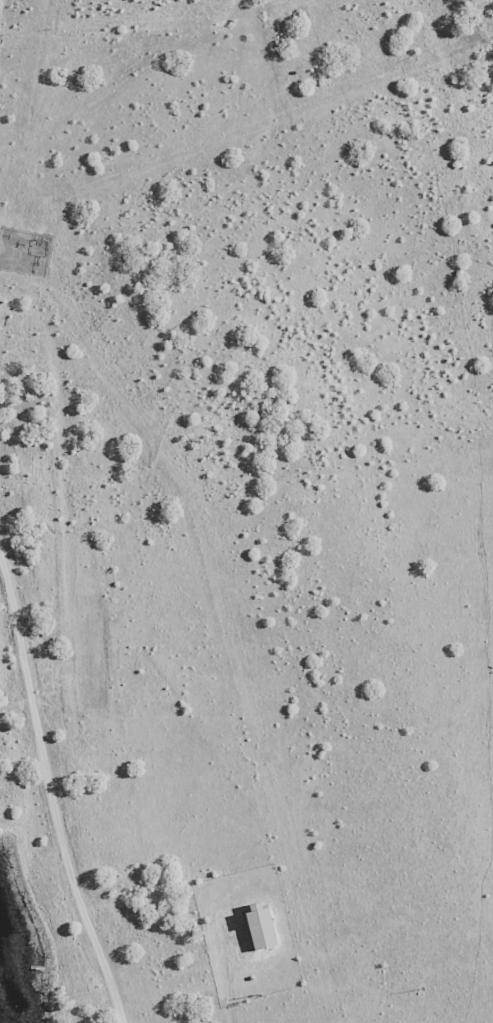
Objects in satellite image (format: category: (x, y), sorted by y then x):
building: (257, 930)

